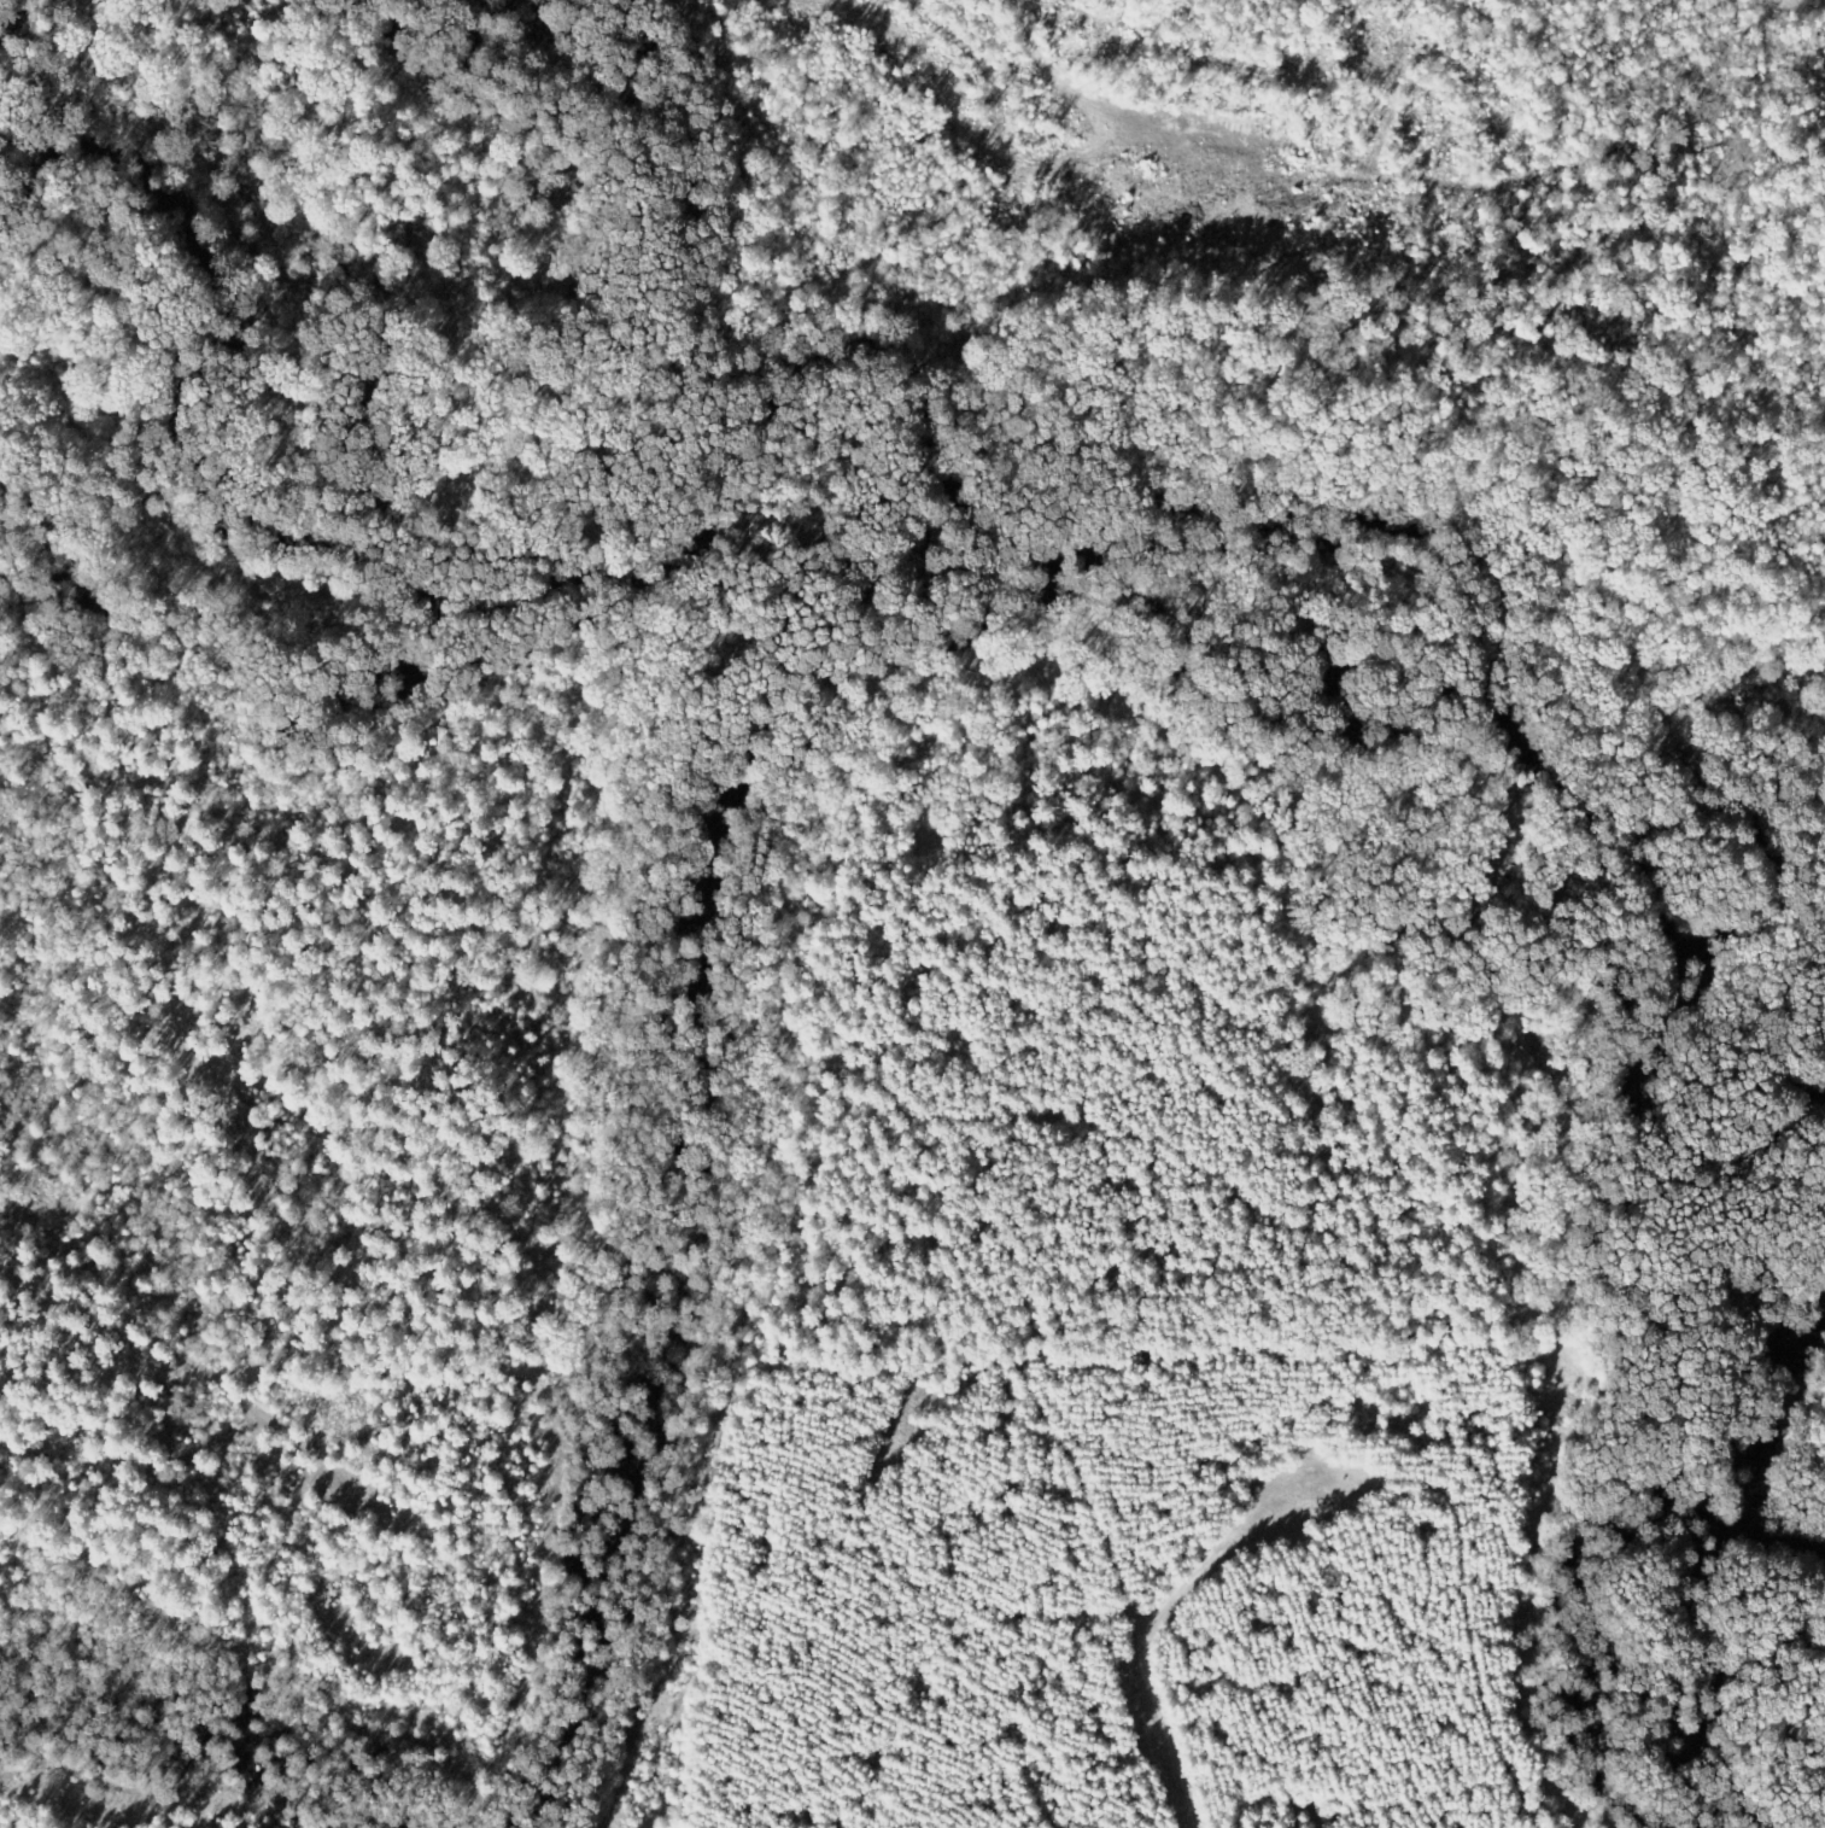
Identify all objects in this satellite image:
river: (947, 382)
road: (127, 1328)
road: (1016, 1353)
river: (1771, 1456)

